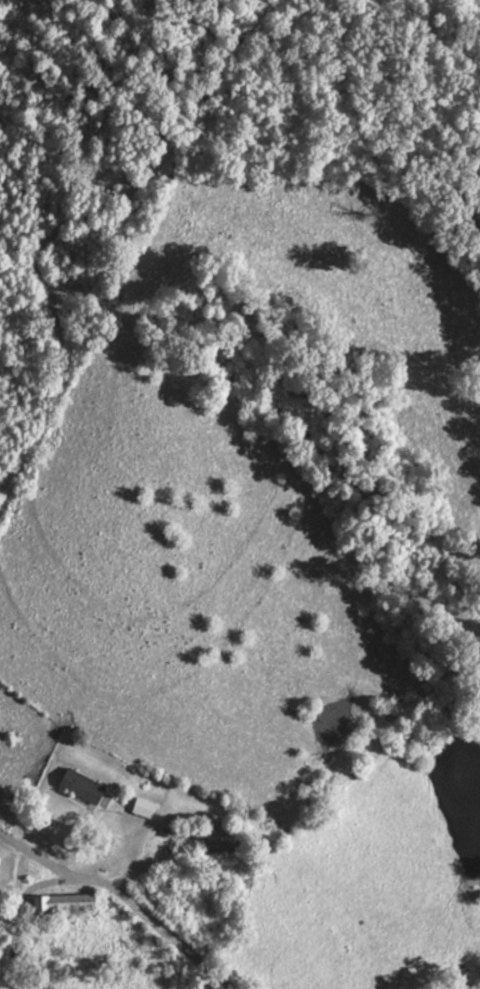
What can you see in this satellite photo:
building: (84, 785)
building: (144, 807)
building: (208, 838)
road: (124, 897)
building: (64, 903)

